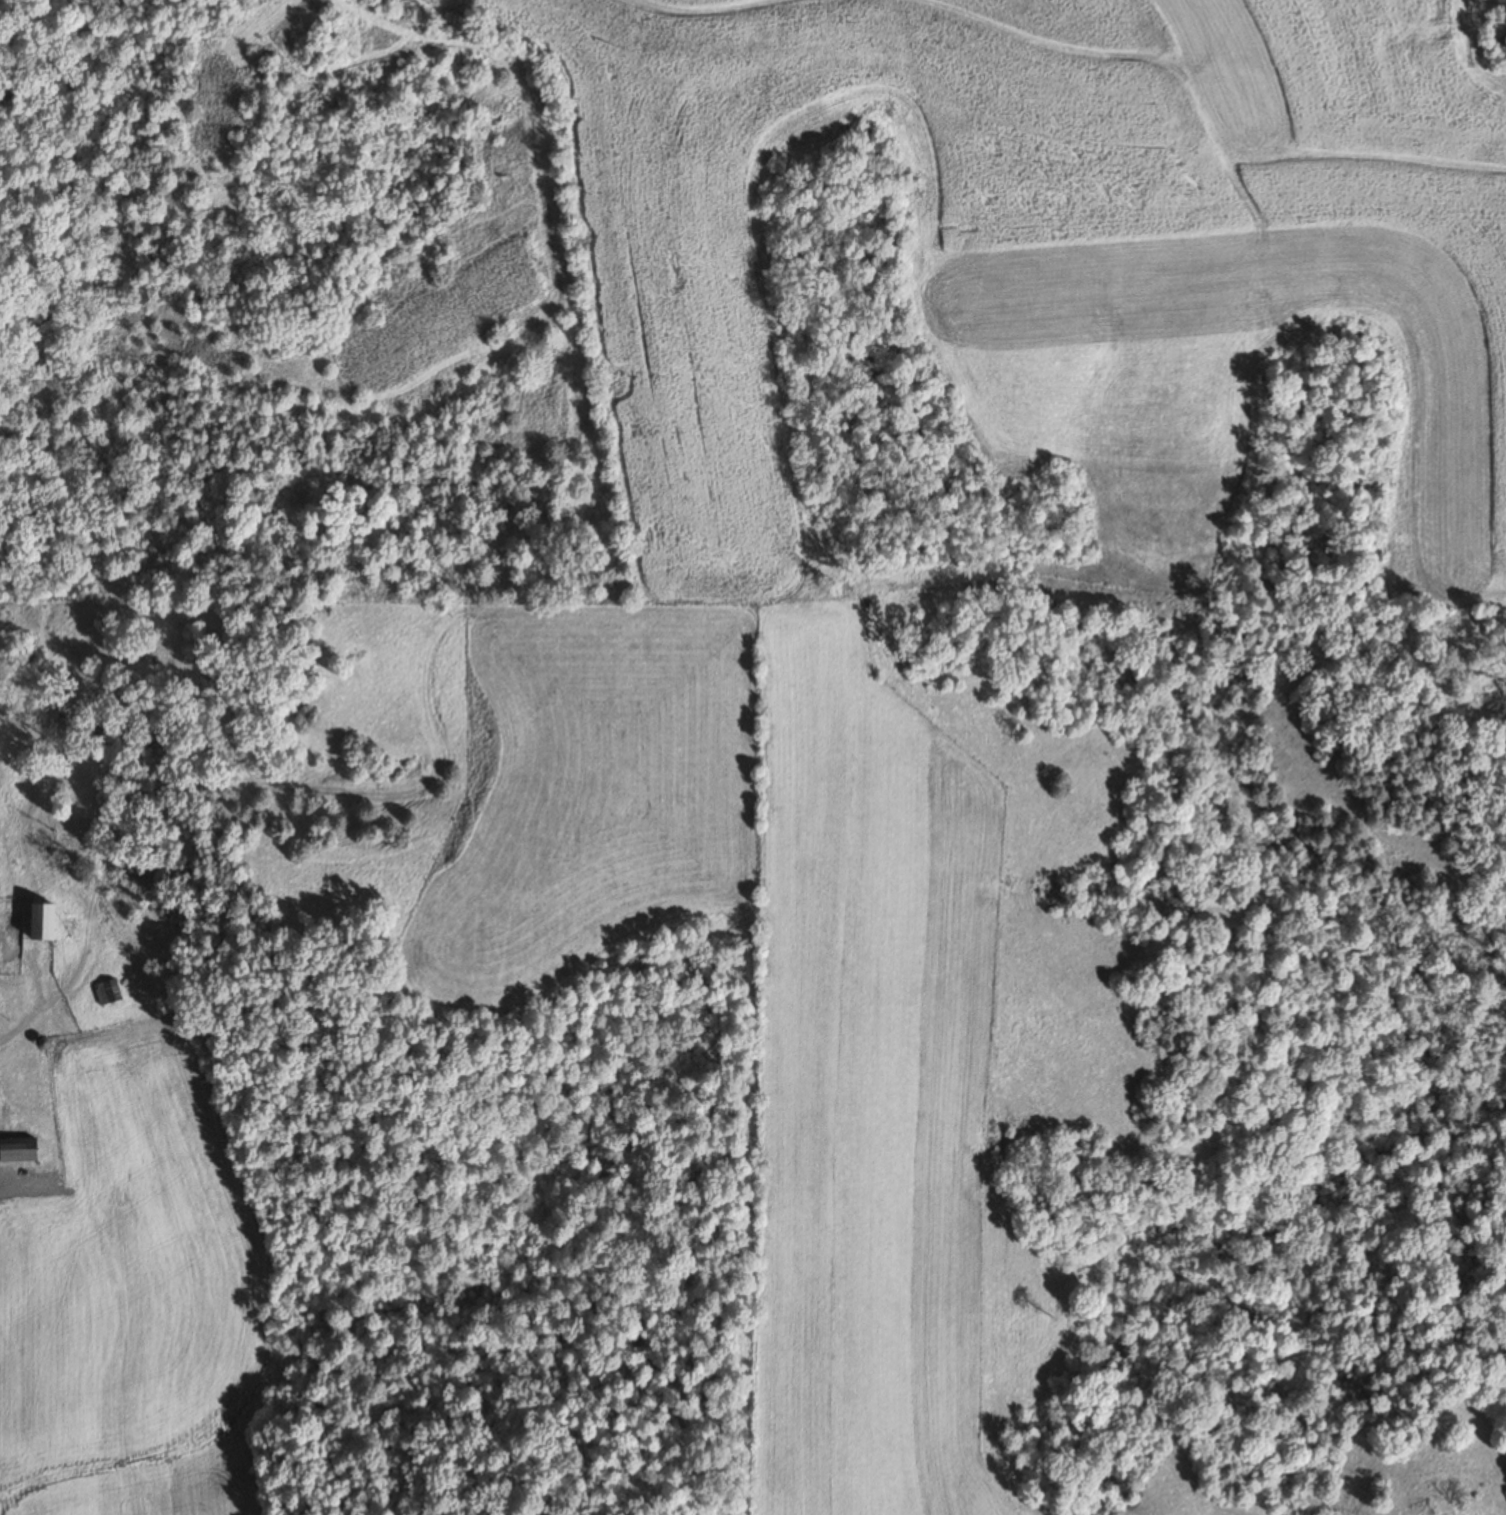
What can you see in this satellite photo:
building: (41, 921)
building: (106, 991)
road: (12, 1026)
building: (16, 1150)

